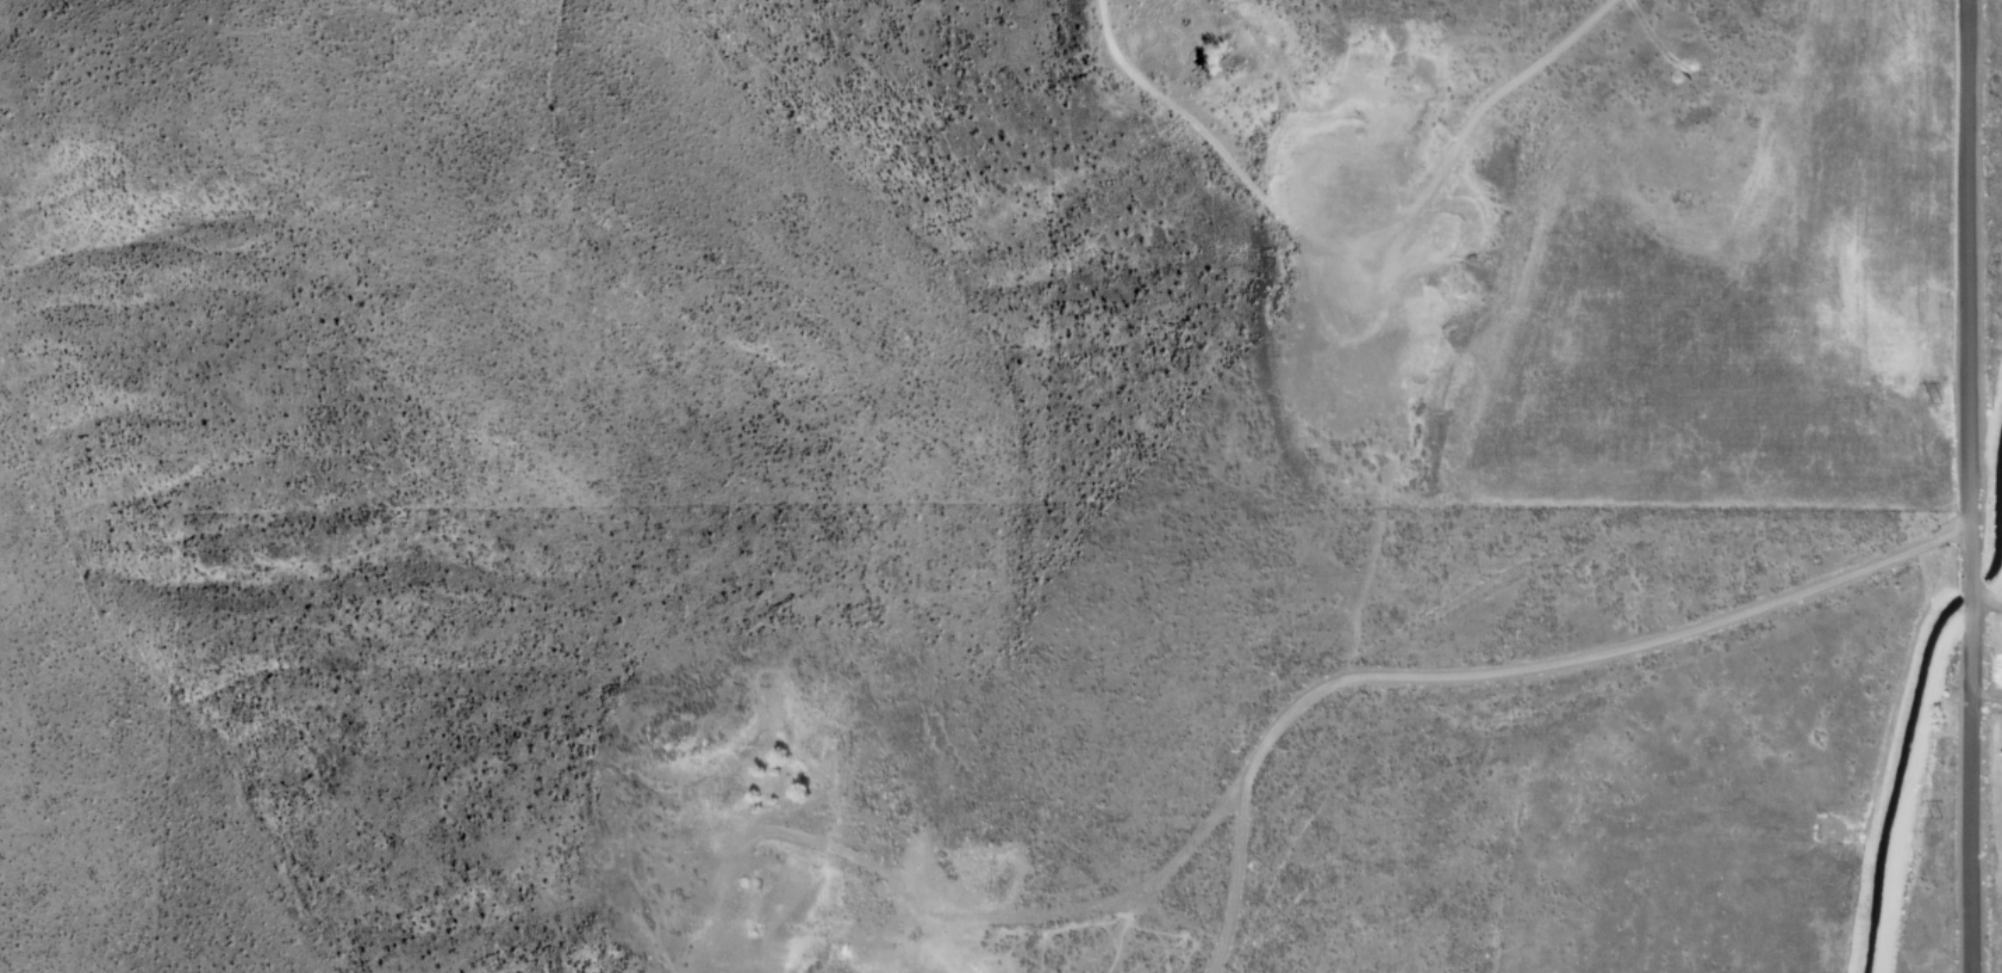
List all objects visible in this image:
power tower: (1933, 407)
road: (1970, 486)
road: (1986, 603)
road: (1499, 672)
road: (1987, 702)
power tower: (1936, 816)

